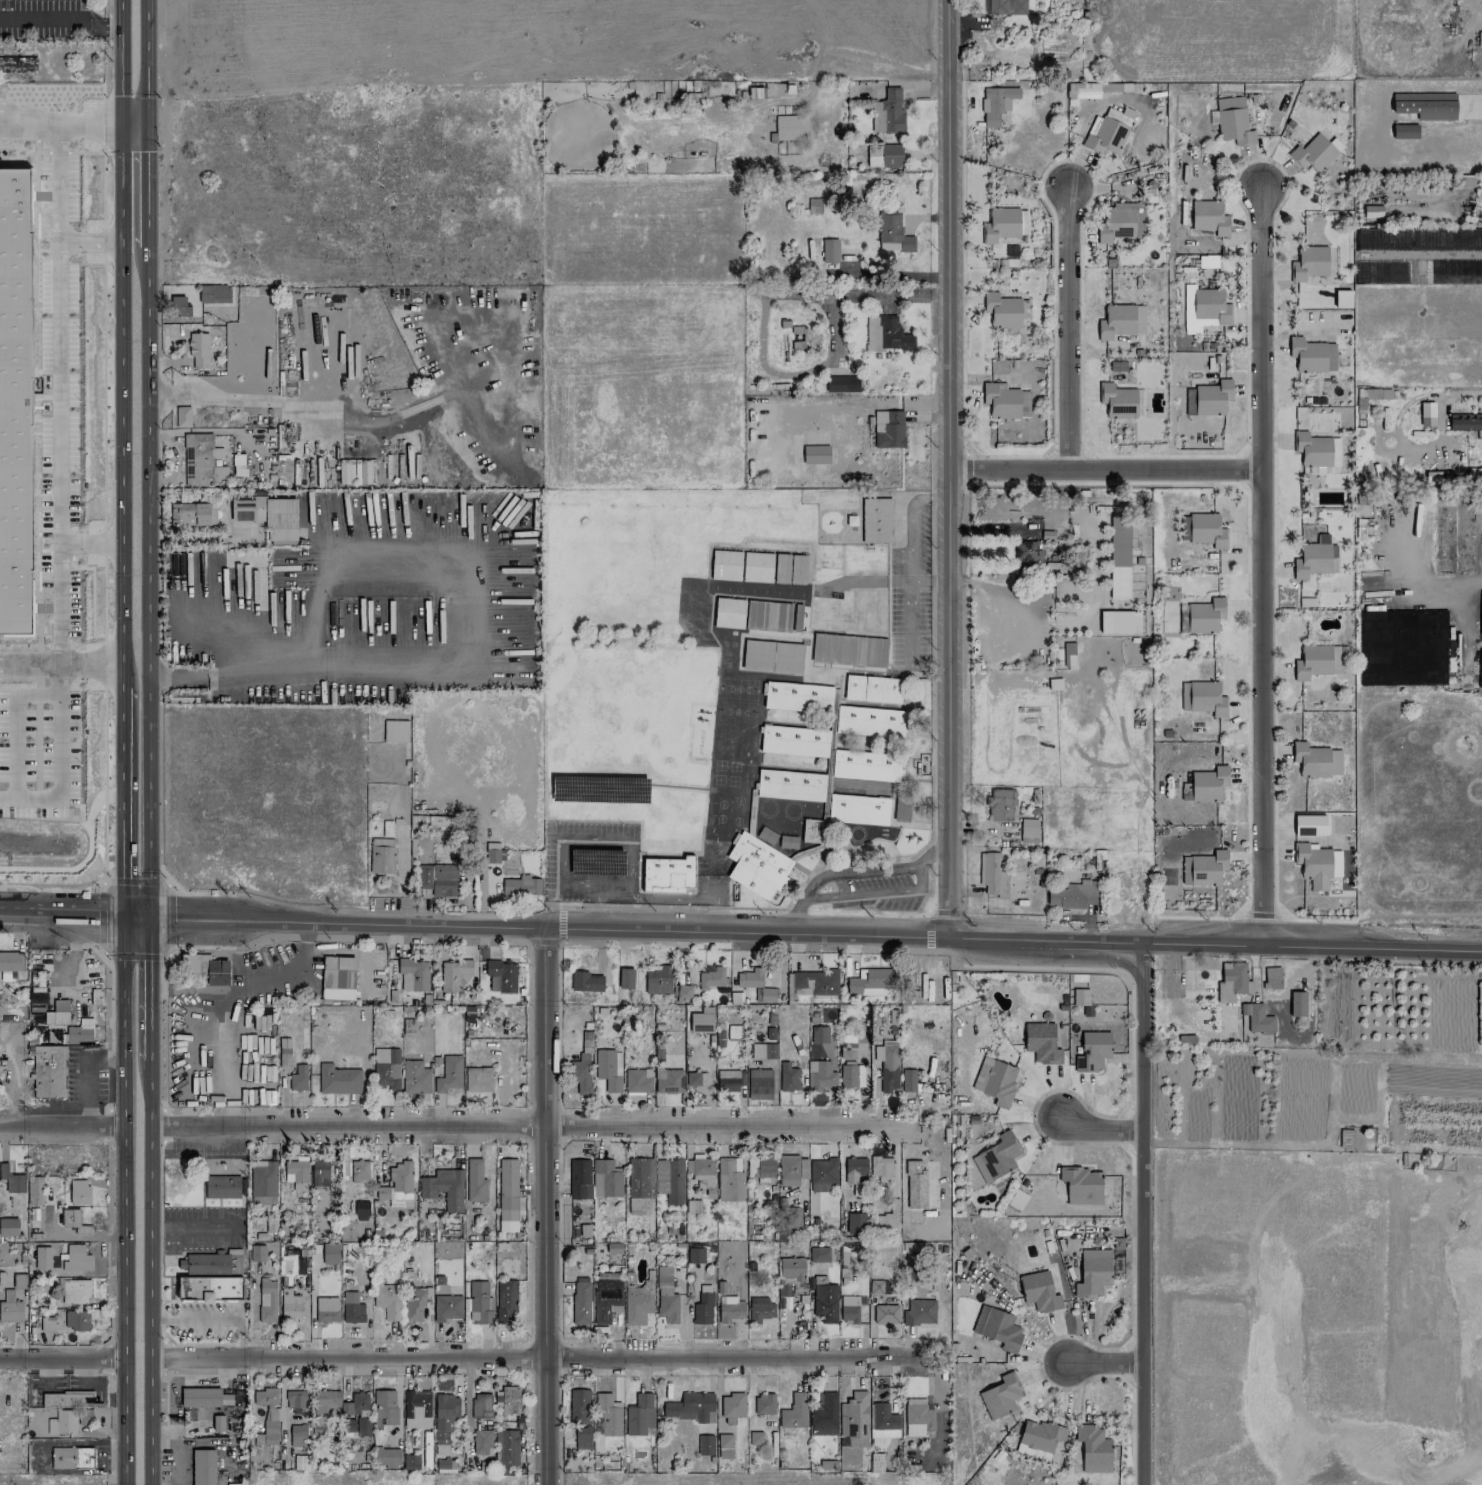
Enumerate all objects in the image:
building: (1005, 6)
road: (60, 19)
road: (145, 61)
building: (18, 65)
building: (1082, 90)
building: (756, 92)
building: (996, 104)
building: (1425, 105)
building: (887, 113)
building: (1120, 115)
building: (1233, 121)
road: (133, 123)
road: (29, 124)
road: (90, 124)
building: (787, 127)
building: (1404, 131)
building: (1105, 136)
building: (1313, 154)
building: (884, 155)
building: (1464, 181)
road: (146, 182)
building: (814, 205)
building: (1209, 217)
building: (1120, 222)
building: (1000, 224)
building: (892, 234)
road: (134, 241)
road: (90, 242)
building: (829, 250)
building: (1208, 260)
building: (1309, 263)
building: (214, 294)
building: (1342, 299)
building: (179, 306)
building: (1203, 308)
building: (1002, 310)
building: (1120, 321)
road: (1067, 328)
road: (121, 332)
building: (886, 334)
building: (198, 349)
building: (1312, 355)
building: (1186, 360)
building: (1116, 366)
building: (836, 383)
road: (59, 393)
road: (1462, 394)
building: (1369, 396)
building: (15, 397)
building: (1212, 397)
building: (1005, 401)
building: (1117, 401)
building: (1189, 401)
road: (311, 409)
building: (1426, 414)
building: (182, 416)
building: (1465, 422)
building: (888, 429)
building: (1334, 447)
building: (1312, 449)
building: (200, 462)
building: (237, 464)
road: (947, 467)
road: (1104, 470)
building: (345, 473)
building: (1480, 474)
building: (1433, 478)
building: (189, 514)
building: (269, 515)
building: (876, 520)
building: (1183, 527)
building: (1206, 530)
building: (1444, 535)
road: (91, 544)
road: (339, 552)
building: (1027, 554)
building: (1119, 558)
building: (1315, 558)
building: (1079, 559)
road: (1260, 562)
building: (725, 565)
building: (757, 567)
road: (148, 581)
road: (1431, 585)
road: (999, 593)
building: (728, 613)
building: (1205, 615)
building: (768, 616)
building: (1182, 618)
building: (1119, 621)
building: (1480, 646)
building: (848, 650)
building: (1068, 655)
building: (771, 657)
road: (30, 661)
building: (1316, 661)
road: (91, 663)
road: (319, 678)
building: (1054, 684)
building: (872, 689)
building: (797, 697)
building: (1202, 698)
building: (868, 721)
building: (395, 731)
building: (793, 741)
road: (59, 760)
building: (1316, 760)
building: (864, 765)
building: (1208, 784)
building: (790, 785)
road: (123, 791)
building: (1000, 805)
building: (857, 809)
building: (901, 809)
building: (1028, 830)
road: (621, 838)
building: (492, 852)
building: (381, 856)
building: (1098, 859)
building: (1317, 865)
building: (757, 866)
building: (1203, 868)
road: (855, 872)
building: (992, 874)
building: (667, 875)
building: (437, 879)
road: (402, 885)
building: (521, 886)
road: (873, 893)
building: (1072, 894)
building: (775, 897)
traffic signals: (125, 919)
traffic signals: (148, 920)
road: (745, 928)
building: (10, 965)
building: (413, 975)
building: (455, 976)
building: (710, 976)
building: (1272, 977)
building: (38, 978)
building: (337, 978)
building: (625, 978)
building: (749, 978)
building: (657, 979)
building: (871, 981)
building: (586, 982)
building: (814, 983)
building: (1232, 983)
road: (245, 984)
building: (683, 993)
building: (767, 995)
building: (1080, 997)
building: (34, 1003)
road: (148, 1004)
building: (1297, 1004)
road: (7, 1010)
building: (1479, 1011)
building: (57, 1013)
building: (1259, 1019)
building: (701, 1020)
building: (80, 1032)
building: (733, 1032)
building: (819, 1034)
road: (194, 1040)
building: (1041, 1042)
building: (847, 1047)
building: (763, 1051)
building: (1092, 1051)
building: (284, 1053)
building: (887, 1066)
building: (386, 1068)
building: (608, 1069)
building: (48, 1071)
building: (448, 1074)
building: (581, 1074)
road: (79, 1076)
building: (819, 1076)
building: (851, 1076)
building: (415, 1077)
building: (477, 1077)
building: (787, 1077)
building: (298, 1078)
road: (10, 1079)
building: (338, 1079)
building: (696, 1079)
building: (637, 1080)
building: (729, 1080)
building: (908, 1080)
building: (668, 1081)
building: (997, 1081)
building: (759, 1084)
road: (208, 1091)
road: (1098, 1129)
road: (62, 1130)
road: (515, 1130)
building: (996, 1157)
building: (765, 1166)
building: (881, 1168)
building: (791, 1170)
building: (359, 1171)
building: (701, 1171)
building: (855, 1171)
building: (319, 1172)
building: (297, 1173)
building: (823, 1175)
building: (11, 1179)
building: (579, 1179)
building: (605, 1179)
building: (669, 1180)
building: (474, 1181)
building: (729, 1181)
building: (263, 1183)
building: (916, 1183)
building: (397, 1184)
building: (639, 1184)
building: (1082, 1185)
building: (222, 1187)
building: (443, 1188)
building: (35, 1190)
building: (79, 1191)
building: (507, 1195)
road: (124, 1201)
road: (541, 1205)
building: (361, 1208)
road: (1142, 1212)
building: (887, 1217)
building: (70, 1218)
building: (856, 1223)
building: (271, 1226)
building: (8, 1227)
road: (86, 1237)
building: (257, 1253)
building: (329, 1253)
building: (818, 1254)
building: (695, 1255)
building: (76, 1258)
building: (205, 1264)
building: (283, 1264)
building: (1093, 1273)
building: (790, 1279)
building: (19, 1281)
road: (150, 1287)
building: (878, 1287)
building: (210, 1288)
building: (75, 1291)
building: (1038, 1291)
building: (666, 1296)
building: (267, 1300)
building: (387, 1300)
building: (505, 1300)
building: (824, 1300)
building: (414, 1303)
building: (479, 1303)
building: (580, 1303)
building: (606, 1303)
building: (289, 1304)
building: (637, 1304)
building: (446, 1307)
building: (10, 1308)
building: (352, 1308)
building: (326, 1309)
building: (702, 1309)
building: (730, 1309)
building: (760, 1309)
building: (849, 1309)
building: (920, 1311)
building: (885, 1314)
road: (213, 1318)
building: (76, 1320)
building: (46, 1324)
building: (997, 1327)
road: (535, 1359)
road: (62, 1361)
road: (1103, 1362)
building: (1000, 1396)
building: (200, 1397)
building: (295, 1398)
building: (68, 1399)
building: (507, 1399)
building: (355, 1404)
building: (764, 1404)
building: (481, 1406)
building: (579, 1406)
building: (384, 1407)
building: (691, 1407)
building: (732, 1407)
building: (323, 1408)
building: (416, 1409)
building: (794, 1411)
building: (267, 1415)
building: (639, 1415)
building: (824, 1415)
building: (84, 1416)
building: (444, 1416)
building: (608, 1416)
building: (917, 1417)
building: (854, 1419)
building: (882, 1421)
building: (65, 1422)
building: (50, 1426)
building: (356, 1427)
building: (297, 1435)
building: (1040, 1435)
building: (582, 1437)
building: (755, 1437)
building: (481, 1441)
building: (705, 1445)
building: (724, 1446)
building: (440, 1449)
building: (1093, 1449)
building: (506, 1450)
building: (426, 1454)
building: (386, 1457)
building: (71, 1458)
building: (410, 1462)
building: (875, 1462)
building: (445, 1465)
building: (203, 1467)

